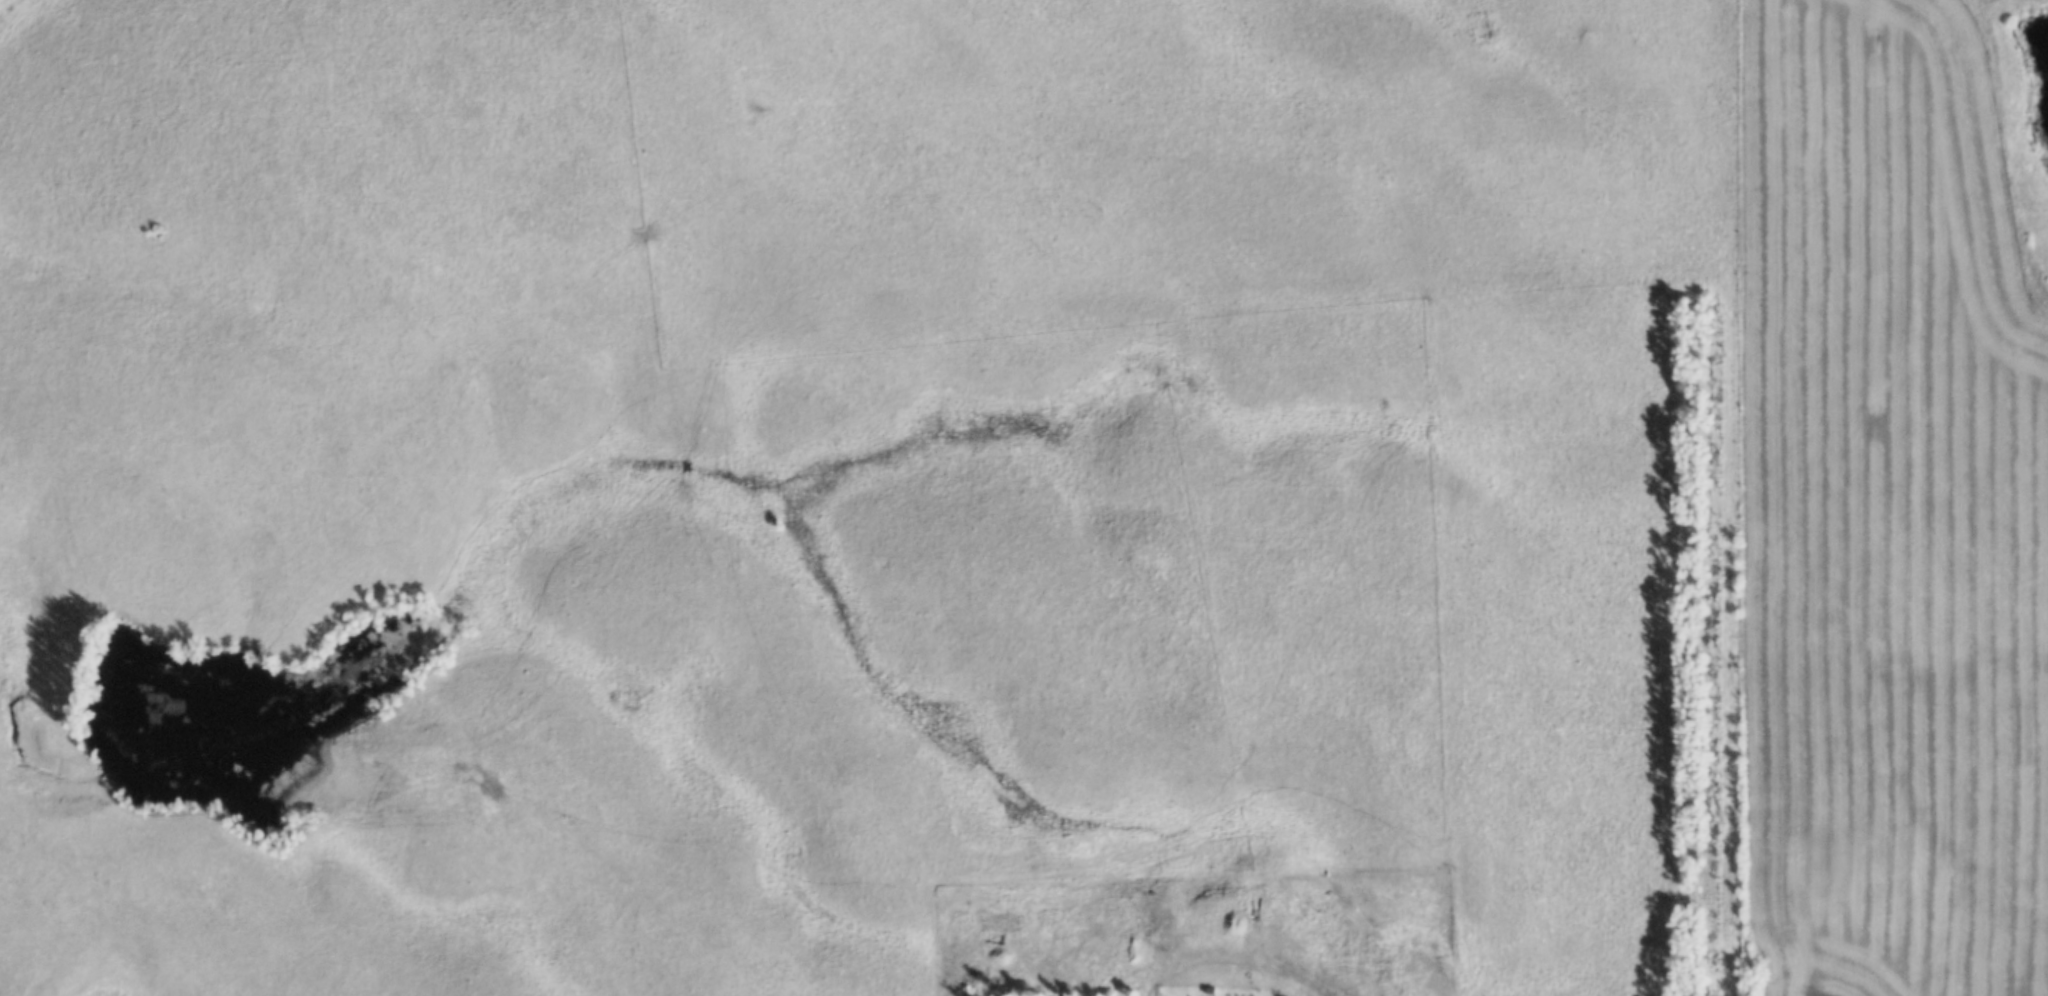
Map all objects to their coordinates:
building: (1269, 909)

